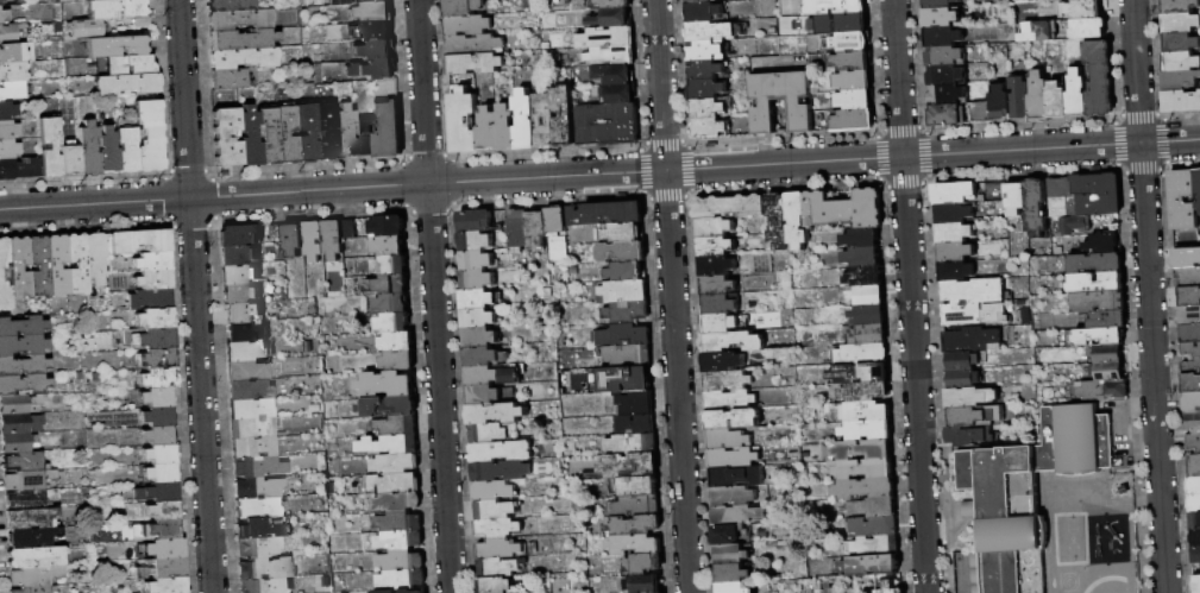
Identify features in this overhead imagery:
building: (1, 0)
building: (360, 0)
building: (376, 0)
building: (716, 0)
building: (1088, 0)
building: (697, 1)
building: (1060, 1)
building: (338, 2)
building: (591, 4)
building: (612, 4)
building: (940, 4)
building: (227, 5)
building: (1180, 6)
building: (461, 7)
building: (837, 7)
building: (114, 8)
building: (1083, 10)
building: (372, 12)
building: (703, 13)
building: (4, 15)
building: (615, 18)
building: (238, 19)
building: (941, 19)
building: (593, 21)
building: (1180, 24)
building: (466, 25)
building: (841, 25)
building: (86, 27)
building: (1088, 29)
building: (375, 31)
building: (10, 32)
building: (711, 32)
building: (1038, 32)
building: (605, 38)
building: (943, 38)
building: (240, 39)
building: (853, 43)
building: (1181, 43)
building: (117, 45)
building: (472, 45)
building: (545, 46)
building: (373, 50)
building: (704, 51)
building: (15, 52)
building: (545, 55)
building: (611, 57)
building: (944, 57)
building: (243, 58)
building: (854, 62)
building: (473, 63)
building: (1181, 63)
building: (128, 64)
building: (371, 69)
building: (12, 71)
building: (705, 71)
building: (614, 75)
building: (945, 76)
building: (228, 78)
building: (1099, 80)
building: (855, 81)
building: (1181, 82)
building: (126, 83)
building: (12, 89)
building: (705, 90)
building: (320, 93)
building: (618, 94)
building: (947, 95)
building: (1078, 96)
building: (1039, 97)
building: (1019, 99)
building: (856, 101)
building: (1058, 101)
building: (1182, 102)
building: (796, 103)
building: (1001, 103)
building: (708, 109)
building: (7, 111)
building: (981, 114)
building: (563, 116)
building: (949, 116)
building: (544, 120)
building: (463, 121)
building: (524, 121)
building: (854, 121)
building: (607, 125)
building: (505, 128)
building: (7, 130)
building: (385, 130)
building: (709, 130)
building: (325, 131)
building: (488, 131)
building: (306, 132)
building: (345, 132)
building: (147, 134)
building: (287, 134)
building: (226, 135)
building: (249, 135)
building: (268, 135)
building: (364, 138)
building: (49, 146)
building: (8, 149)
building: (88, 149)
building: (126, 149)
building: (107, 150)
building: (69, 159)
building: (26, 168)
building: (6, 169)
road: (695, 169)
building: (1198, 182)
building: (1095, 185)
building: (953, 193)
building: (1060, 198)
building: (1183, 200)
building: (1014, 201)
road: (94, 203)
building: (1095, 206)
building: (1198, 206)
building: (729, 207)
building: (1036, 209)
building: (846, 210)
building: (603, 214)
building: (954, 214)
building: (798, 220)
building: (473, 221)
building: (779, 221)
building: (554, 225)
building: (387, 226)
building: (1074, 226)
building: (359, 227)
building: (535, 227)
building: (715, 228)
building: (347, 229)
building: (516, 231)
building: (623, 233)
building: (955, 233)
building: (239, 234)
building: (276, 234)
building: (332, 239)
building: (862, 239)
building: (293, 240)
building: (313, 240)
building: (138, 241)
building: (473, 241)
building: (1104, 245)
building: (387, 246)
building: (716, 247)
building: (4, 252)
building: (621, 252)
building: (955, 253)
building: (237, 256)
building: (94, 258)
building: (863, 258)
building: (1187, 259)
building: (475, 260)
building: (152, 261)
building: (75, 264)
building: (1097, 264)
building: (54, 265)
building: (389, 265)
building: (18, 266)
building: (36, 266)
building: (717, 266)
building: (624, 271)
building: (955, 272)
building: (238, 273)
building: (865, 277)
building: (1187, 278)
building: (476, 279)
building: (152, 280)
building: (1097, 284)
building: (387, 285)
building: (718, 286)
building: (621, 291)
building: (974, 292)
building: (239, 294)
building: (4, 296)
road: (195, 296)
road: (434, 296)
road: (671, 296)
building: (868, 296)
road: (910, 296)
road: (1148, 296)
building: (1189, 296)
building: (149, 298)
building: (477, 298)
building: (391, 303)
building: (1099, 303)
building: (721, 304)
building: (245, 313)
building: (627, 313)
building: (869, 315)
building: (963, 315)
building: (1190, 316)
building: (155, 318)
building: (477, 318)
building: (1107, 321)
building: (392, 323)
building: (720, 324)
building: (21, 326)
building: (245, 332)
building: (1190, 334)
building: (622, 336)
building: (868, 336)
building: (149, 337)
building: (478, 337)
building: (1095, 337)
building: (969, 340)
building: (396, 342)
building: (730, 342)
building: (23, 345)
building: (1199, 345)
building: (246, 351)
building: (1189, 351)
building: (862, 354)
building: (1107, 354)
building: (628, 355)
building: (157, 358)
building: (483, 358)
building: (397, 361)
building: (128, 362)
building: (722, 362)
building: (961, 362)
building: (23, 365)
building: (1190, 367)
building: (246, 371)
building: (1107, 372)
building: (861, 374)
building: (78, 376)
building: (491, 376)
building: (95, 377)
building: (158, 378)
building: (622, 380)
building: (962, 380)
building: (727, 381)
building: (23, 384)
building: (1190, 384)
building: (385, 385)
building: (249, 390)
building: (1102, 391)
building: (865, 393)
building: (483, 396)
building: (156, 397)
building: (970, 398)
building: (729, 400)
building: (1192, 403)
building: (19, 404)
building: (635, 405)
building: (389, 406)
building: (250, 409)
building: (861, 412)
building: (495, 414)
building: (157, 416)
building: (975, 416)
building: (733, 419)
building: (19, 423)
building: (1193, 423)
building: (635, 425)
building: (396, 427)
building: (252, 428)
building: (868, 431)
building: (486, 434)
building: (158, 435)
building: (969, 436)
building: (727, 440)
building: (17, 442)
building: (1193, 443)
building: (632, 444)
building: (388, 446)
building: (252, 447)
building: (863, 450)
building: (500, 452)
building: (158, 453)
building: (733, 459)
building: (25, 461)
building: (394, 463)
building: (629, 466)
building: (256, 467)
building: (1194, 467)
building: (863, 469)
building: (159, 472)
building: (500, 472)
building: (736, 478)
building: (27, 480)
building: (389, 484)
building: (635, 486)
building: (1193, 487)
building: (257, 488)
building: (865, 490)
building: (491, 491)
building: (157, 492)
building: (1028, 494)
building: (733, 497)
building: (29, 499)
building: (397, 503)
building: (1194, 504)
building: (636, 506)
building: (257, 507)
building: (874, 507)
building: (162, 510)
building: (494, 510)
building: (972, 510)
building: (736, 516)
building: (29, 518)
building: (1194, 521)
building: (398, 523)
building: (634, 525)
building: (259, 526)
building: (291, 526)
road: (963, 526)
building: (496, 528)
building: (874, 528)
building: (163, 529)
building: (285, 530)
building: (727, 536)
building: (30, 537)
building: (1195, 538)
building: (400, 541)
building: (634, 545)
building: (258, 547)
building: (877, 547)
building: (163, 548)
building: (498, 549)
building: (731, 555)
building: (1195, 555)
building: (34, 556)
building: (400, 561)
building: (643, 563)
building: (871, 566)
building: (168, 567)
building: (497, 567)
building: (264, 568)
building: (139, 572)
building: (733, 574)
building: (36, 575)
building: (402, 580)
building: (558, 583)
building: (643, 583)
building: (1196, 583)
building: (165, 585)
building: (495, 585)
building: (263, 586)
building: (734, 588)
building: (890, 588)
building: (34, 589)
building: (387, 592)
building: (406, 592)
building: (420, 592)
building: (866, 592)

